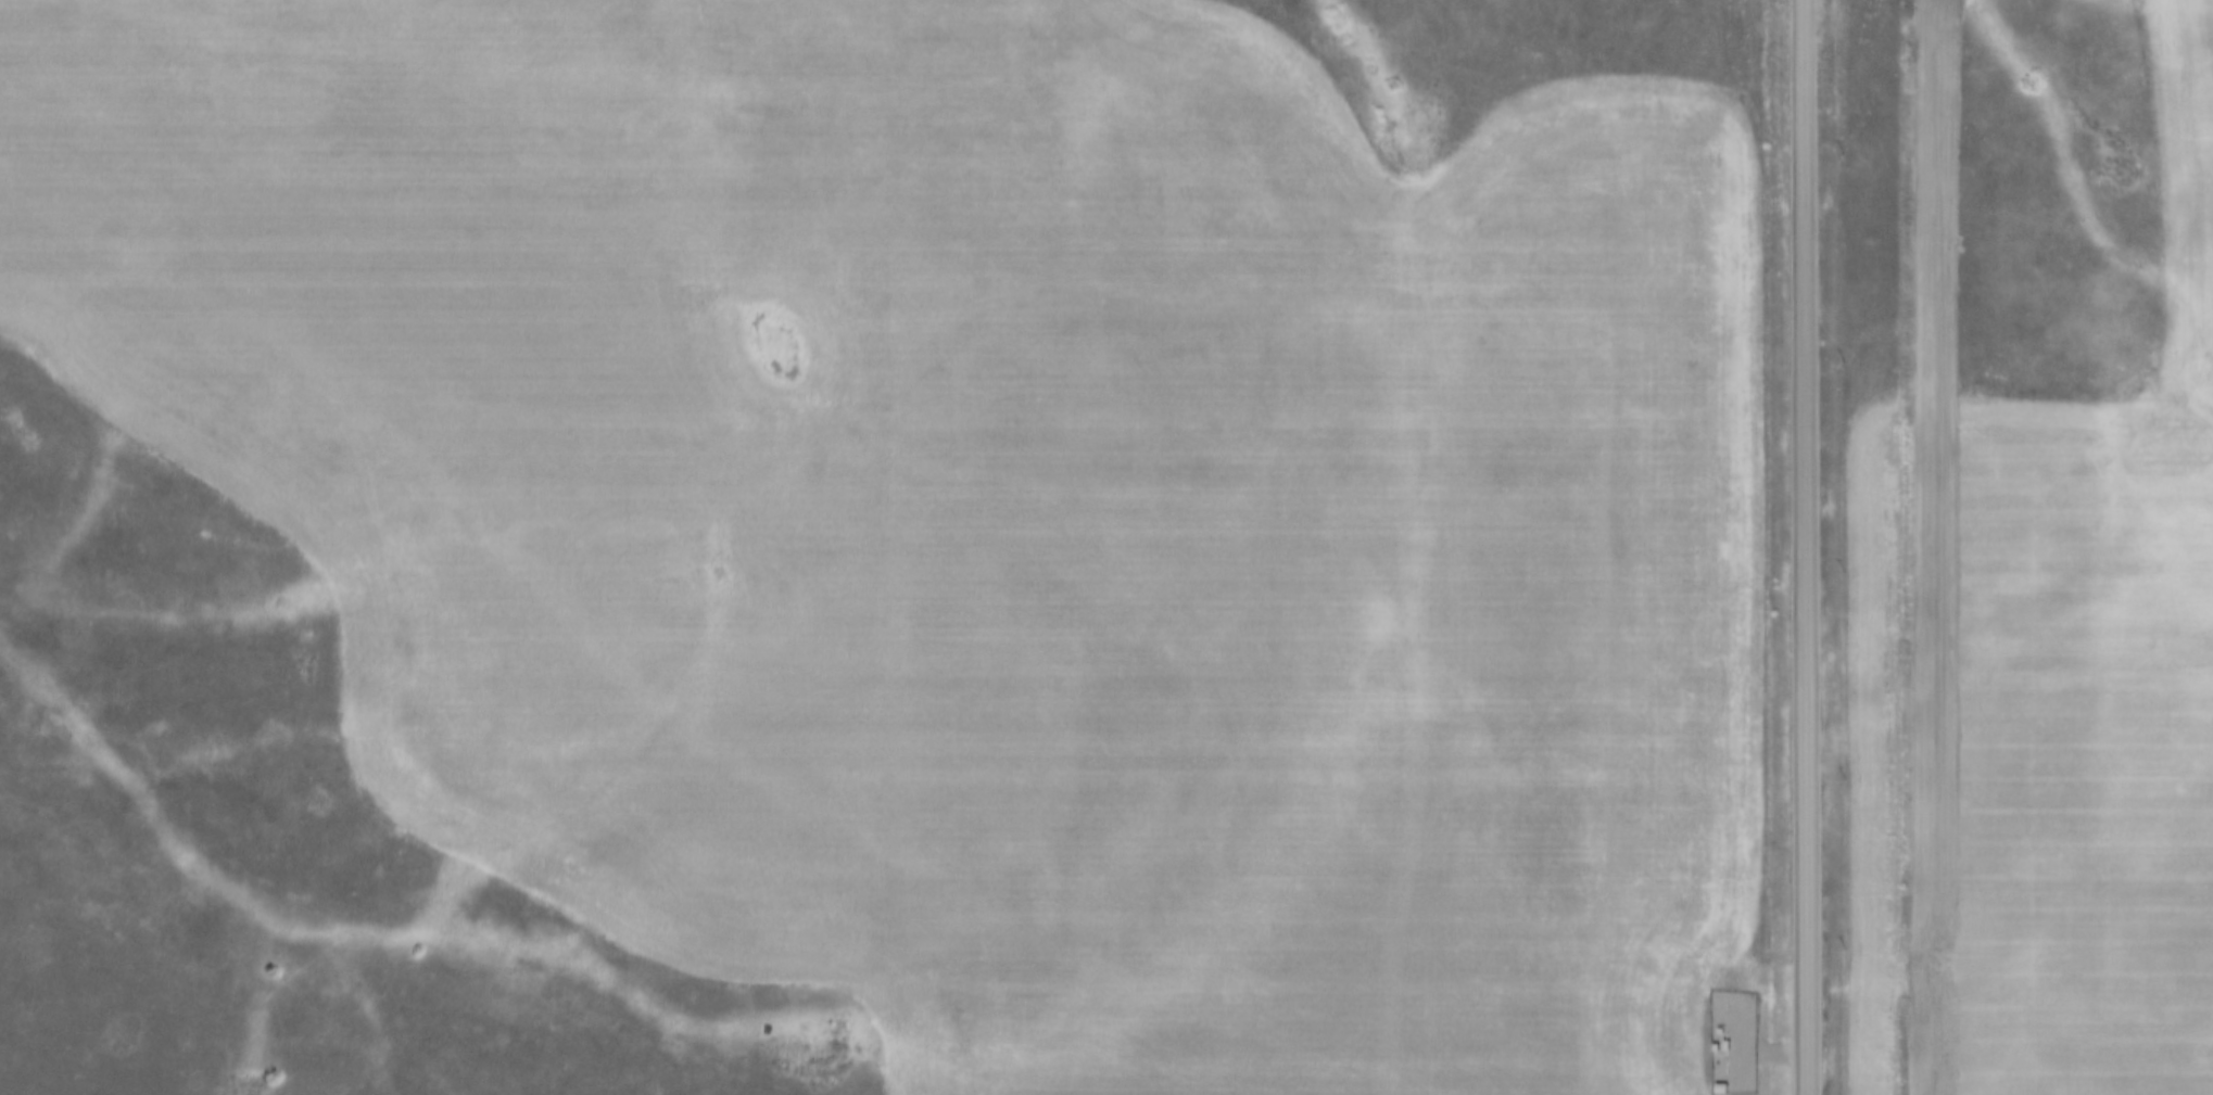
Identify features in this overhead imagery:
road: (1806, 547)

